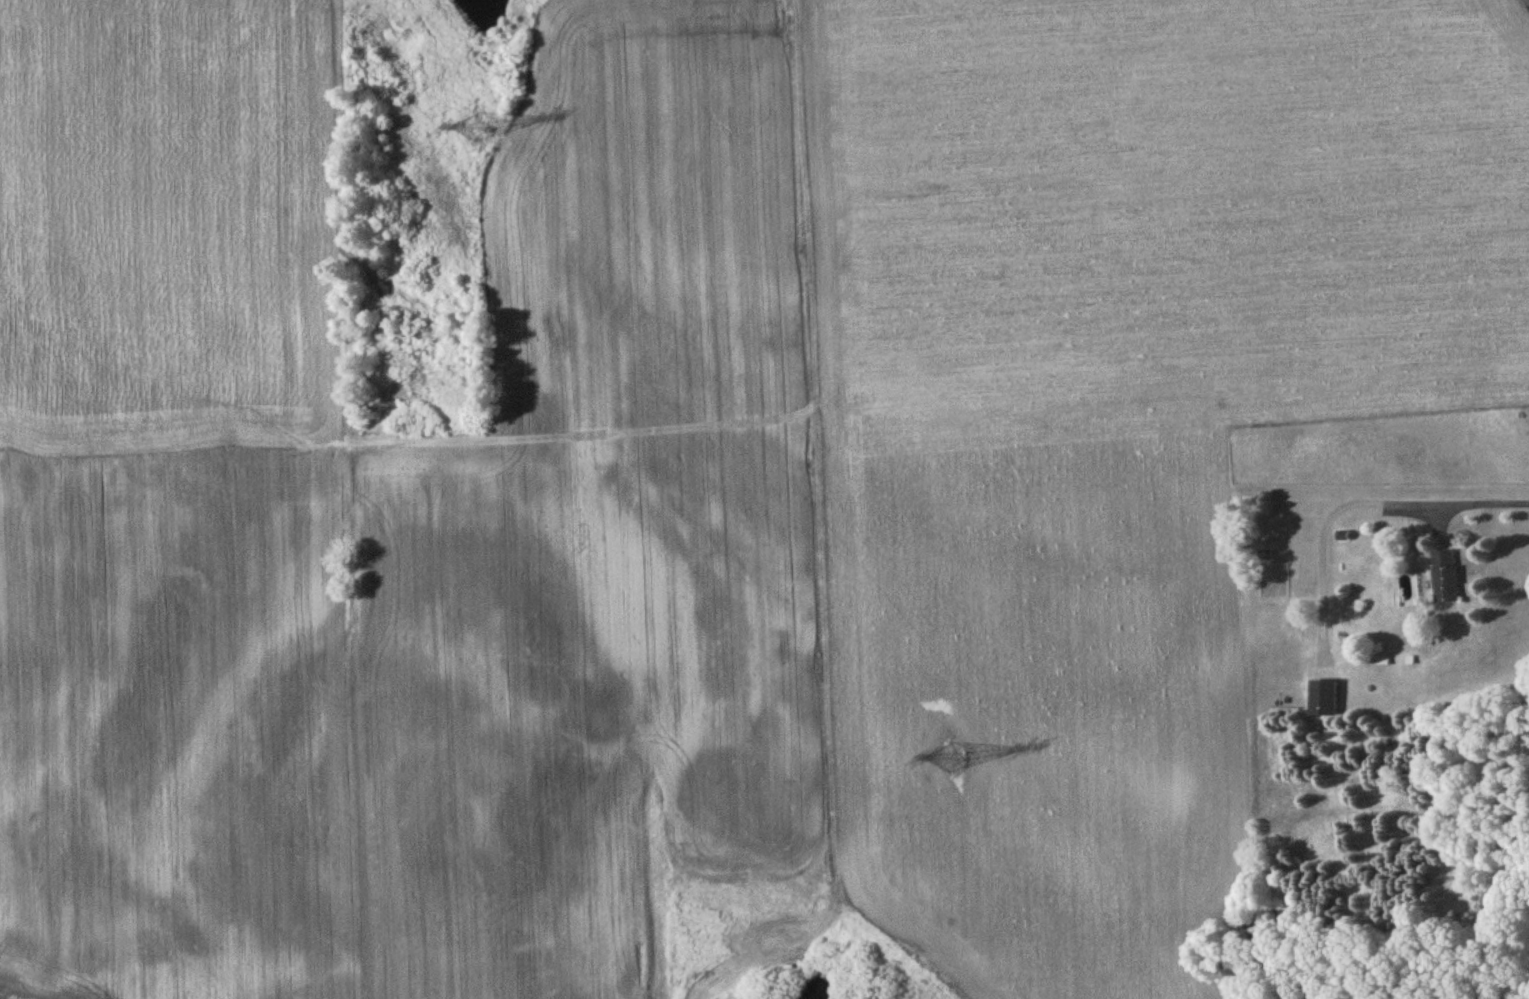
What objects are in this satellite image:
power tower: (474, 131)
road: (1486, 503)
building: (1447, 578)
building: (1322, 699)
power tower: (951, 760)

